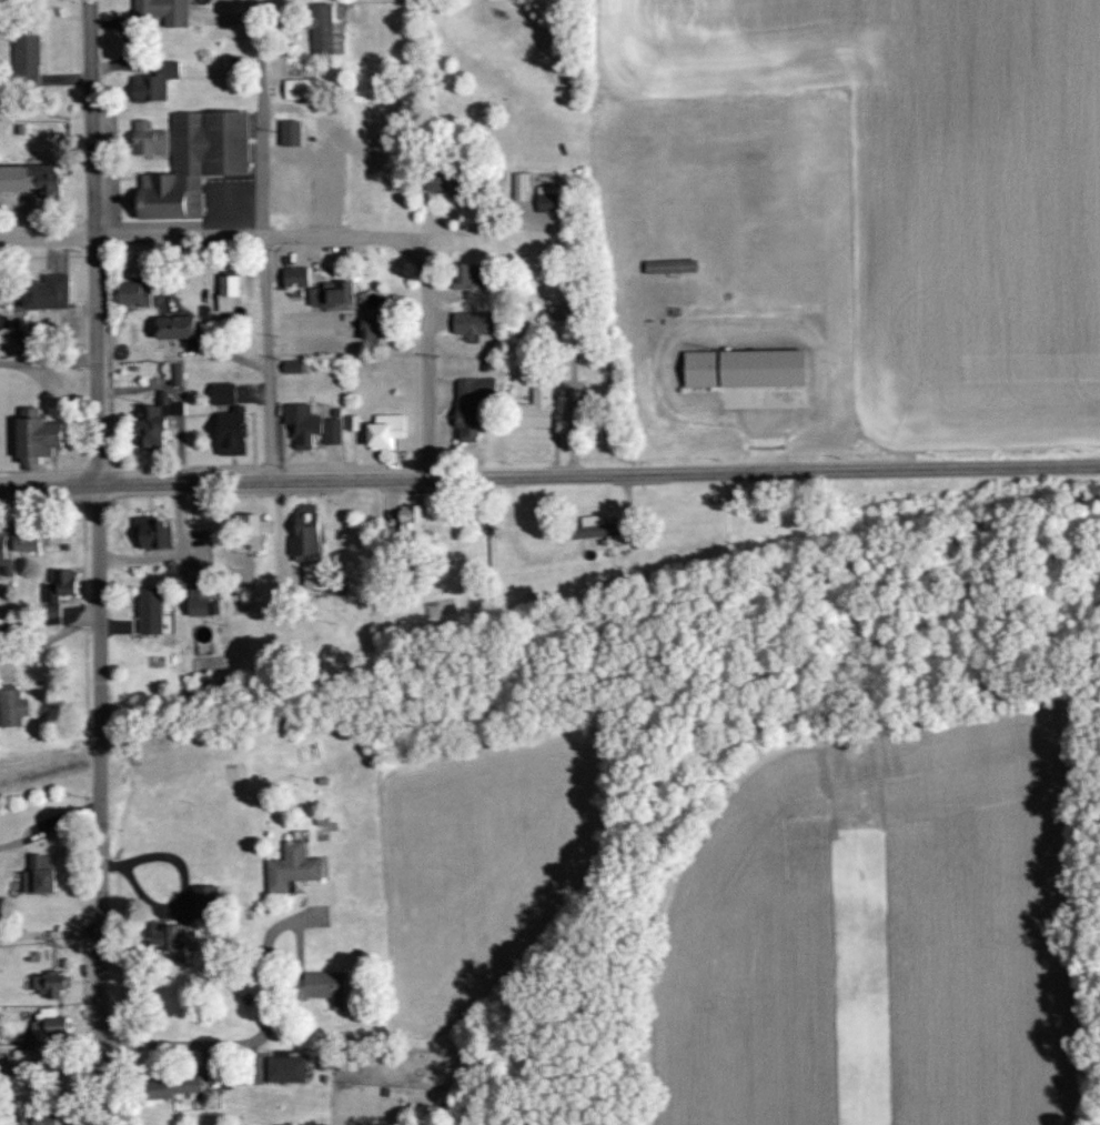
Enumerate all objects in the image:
building: (163, 10)
building: (322, 29)
building: (26, 54)
building: (154, 81)
building: (297, 88)
building: (290, 133)
building: (148, 139)
building: (196, 164)
building: (28, 177)
building: (440, 180)
parking lot: (310, 182)
road: (314, 182)
building: (518, 185)
building: (546, 198)
parking lot: (229, 200)
road: (229, 202)
road: (477, 229)
road: (47, 235)
road: (250, 238)
road: (261, 241)
road: (93, 243)
building: (670, 265)
building: (294, 275)
building: (472, 275)
building: (47, 292)
building: (131, 293)
building: (228, 293)
building: (331, 293)
building: (473, 322)
building: (175, 325)
building: (372, 327)
road: (719, 328)
road: (430, 354)
road: (49, 361)
building: (291, 365)
building: (744, 365)
building: (174, 374)
building: (222, 392)
building: (164, 403)
building: (471, 404)
building: (536, 406)
building: (310, 425)
building: (150, 426)
road: (765, 428)
building: (231, 431)
building: (385, 431)
building: (36, 436)
road: (424, 462)
road: (352, 463)
road: (183, 466)
road: (931, 466)
road: (269, 468)
road: (98, 469)
road: (41, 470)
road: (703, 473)
road: (535, 476)
road: (263, 482)
road: (49, 488)
road: (42, 514)
building: (410, 515)
building: (253, 530)
building: (151, 532)
building: (304, 532)
building: (26, 539)
building: (2, 543)
building: (312, 575)
building: (55, 592)
building: (200, 594)
building: (149, 611)
road: (51, 636)
building: (11, 707)
road: (101, 805)
building: (291, 867)
building: (39, 874)
building: (205, 901)
building: (169, 937)
building: (49, 984)
building: (326, 987)
building: (49, 1021)
road: (258, 1042)
road: (51, 1067)
building: (285, 1068)
building: (172, 1086)
building: (38, 1118)

